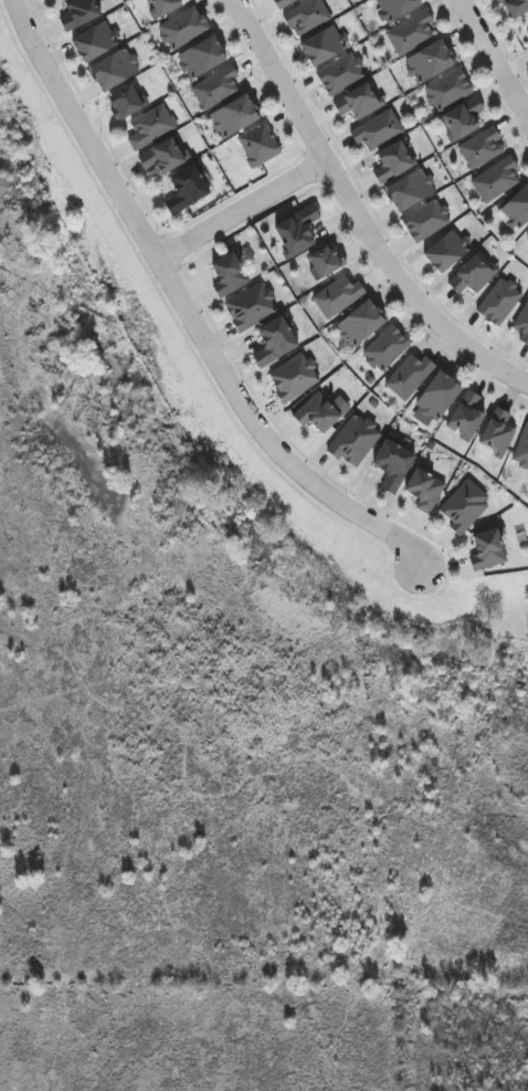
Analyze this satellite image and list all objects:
building: (283, 2)
building: (162, 7)
building: (398, 7)
building: (516, 7)
building: (80, 13)
building: (307, 15)
building: (182, 27)
building: (412, 31)
building: (95, 41)
building: (324, 45)
building: (201, 56)
road: (494, 57)
building: (431, 60)
building: (113, 69)
building: (341, 73)
building: (215, 87)
building: (450, 88)
building: (360, 101)
building: (126, 102)
building: (233, 115)
building: (463, 117)
building: (150, 126)
building: (379, 129)
building: (258, 144)
building: (484, 147)
building: (166, 156)
building: (393, 161)
building: (498, 180)
building: (186, 189)
building: (411, 189)
building: (518, 207)
road: (359, 209)
road: (242, 210)
building: (427, 220)
building: (298, 231)
building: (446, 251)
building: (325, 260)
building: (228, 275)
building: (473, 275)
building: (337, 296)
building: (500, 301)
building: (251, 306)
road: (186, 312)
building: (362, 323)
building: (524, 324)
building: (273, 342)
building: (387, 348)
building: (410, 375)
building: (294, 377)
building: (439, 396)
building: (316, 412)
building: (467, 416)
building: (498, 433)
building: (356, 440)
building: (522, 450)
building: (392, 464)
building: (425, 489)
building: (465, 505)
building: (487, 549)

